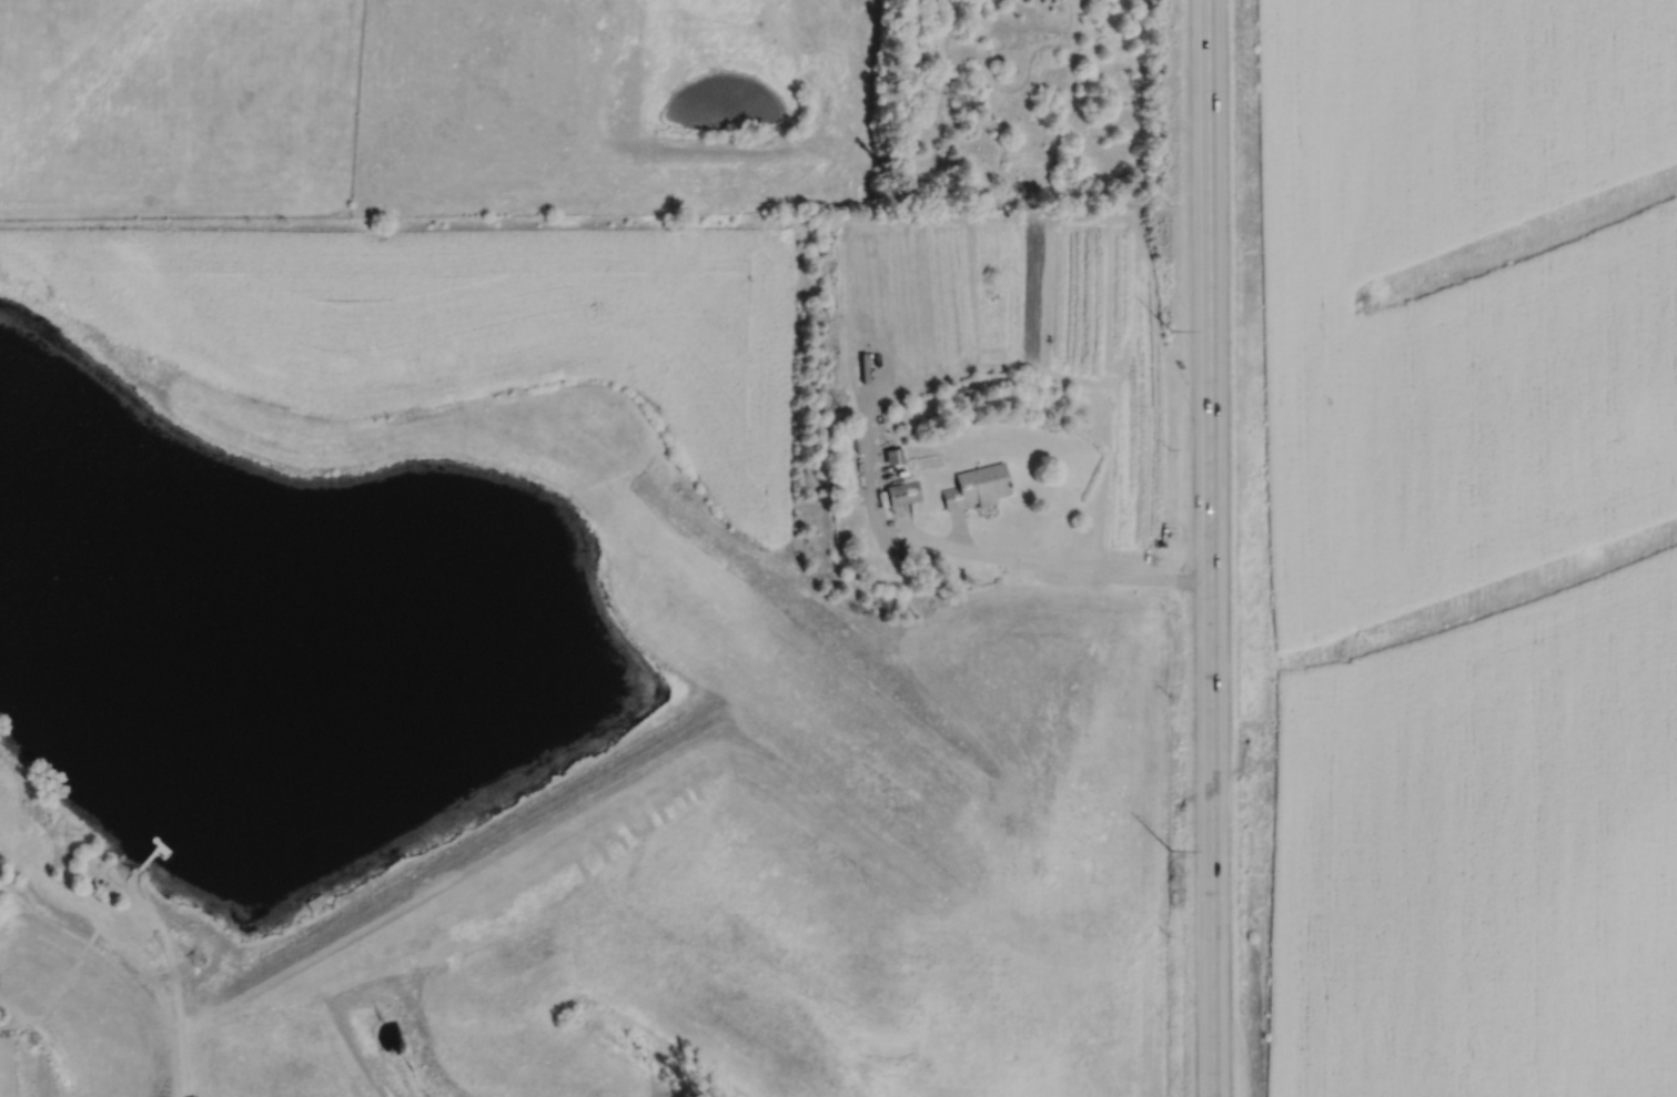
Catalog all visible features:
power tower: (1170, 332)
building: (979, 487)
building: (905, 492)
road: (1208, 548)
road: (1073, 571)
power tower: (1168, 849)
dam: (474, 857)
road: (174, 982)

